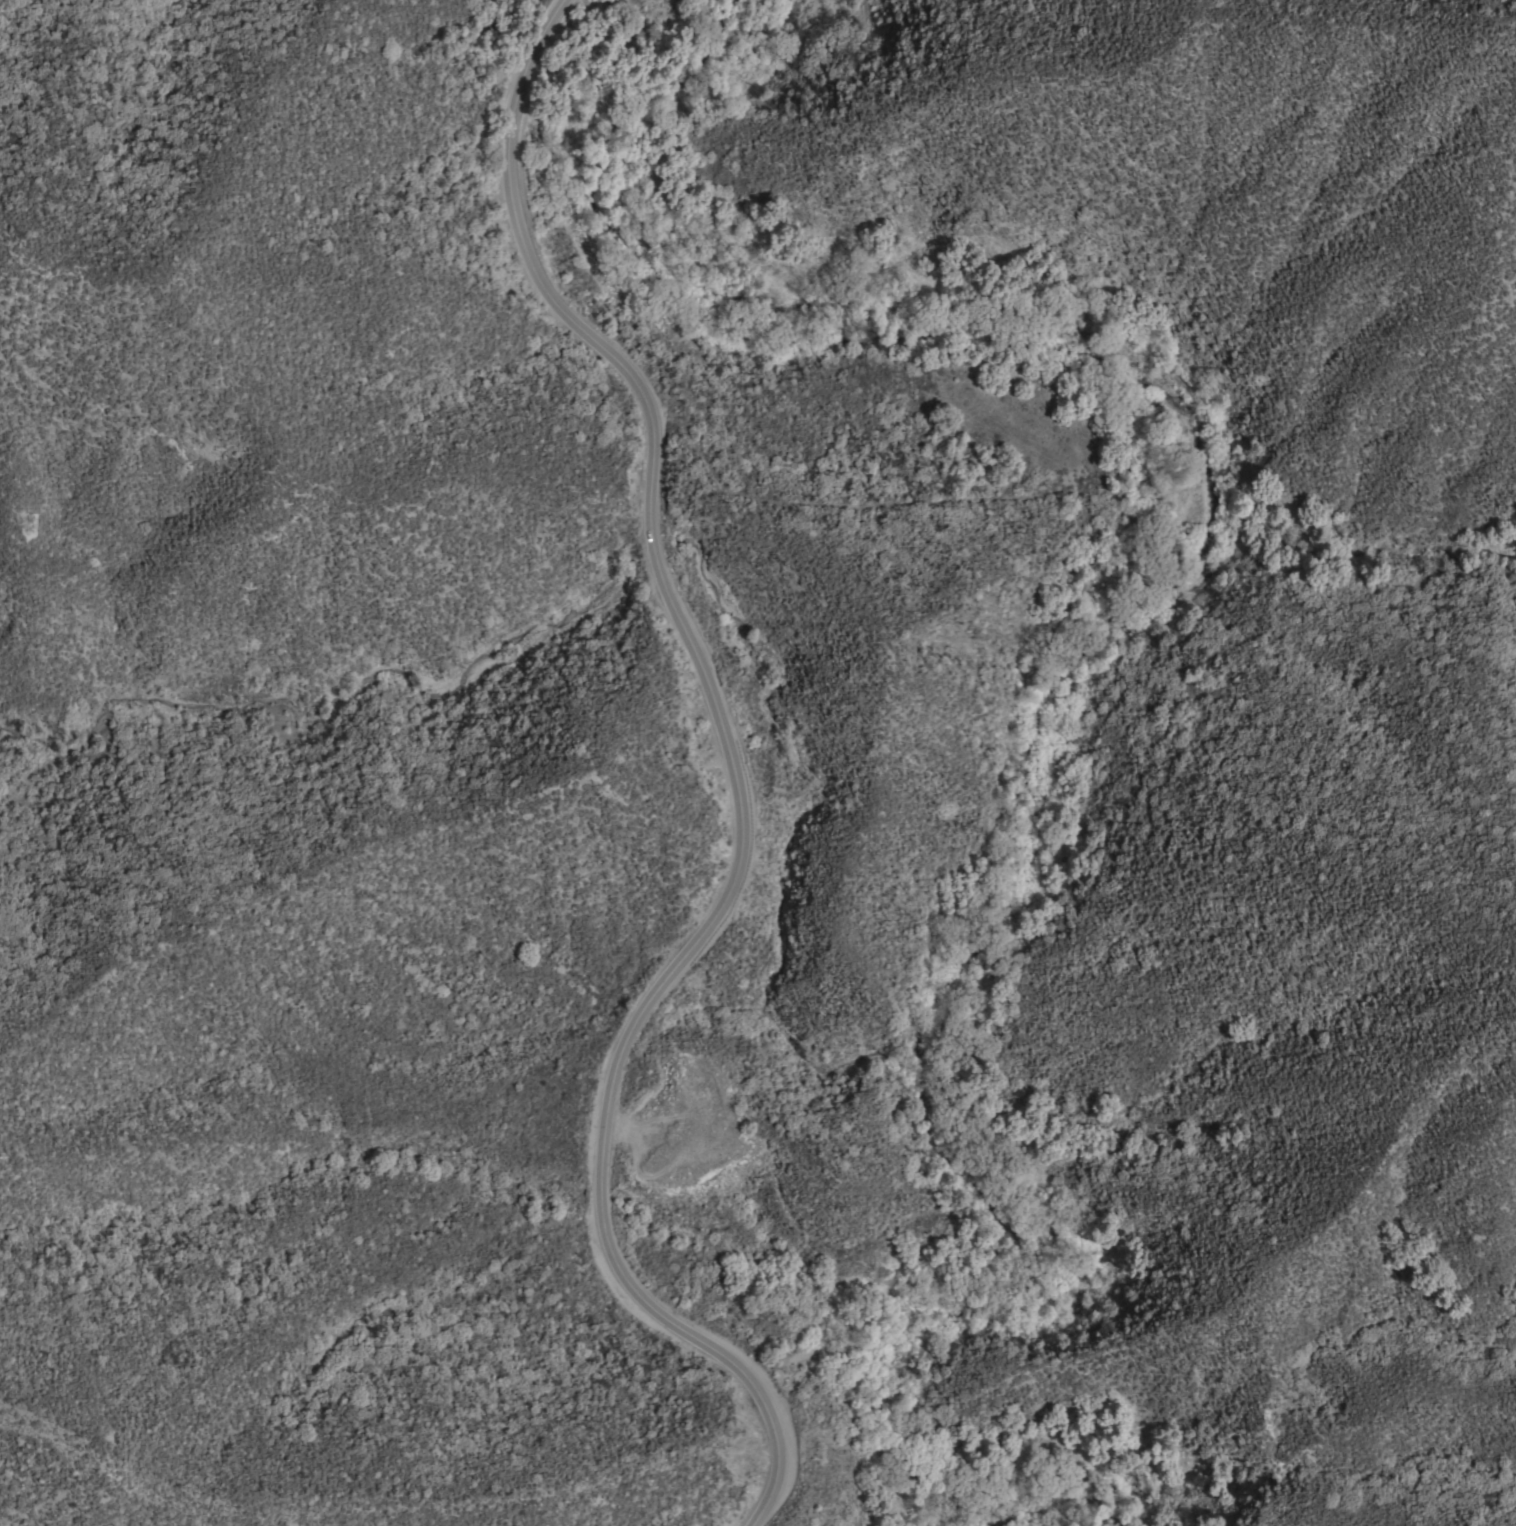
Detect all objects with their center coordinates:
road: (736, 783)

